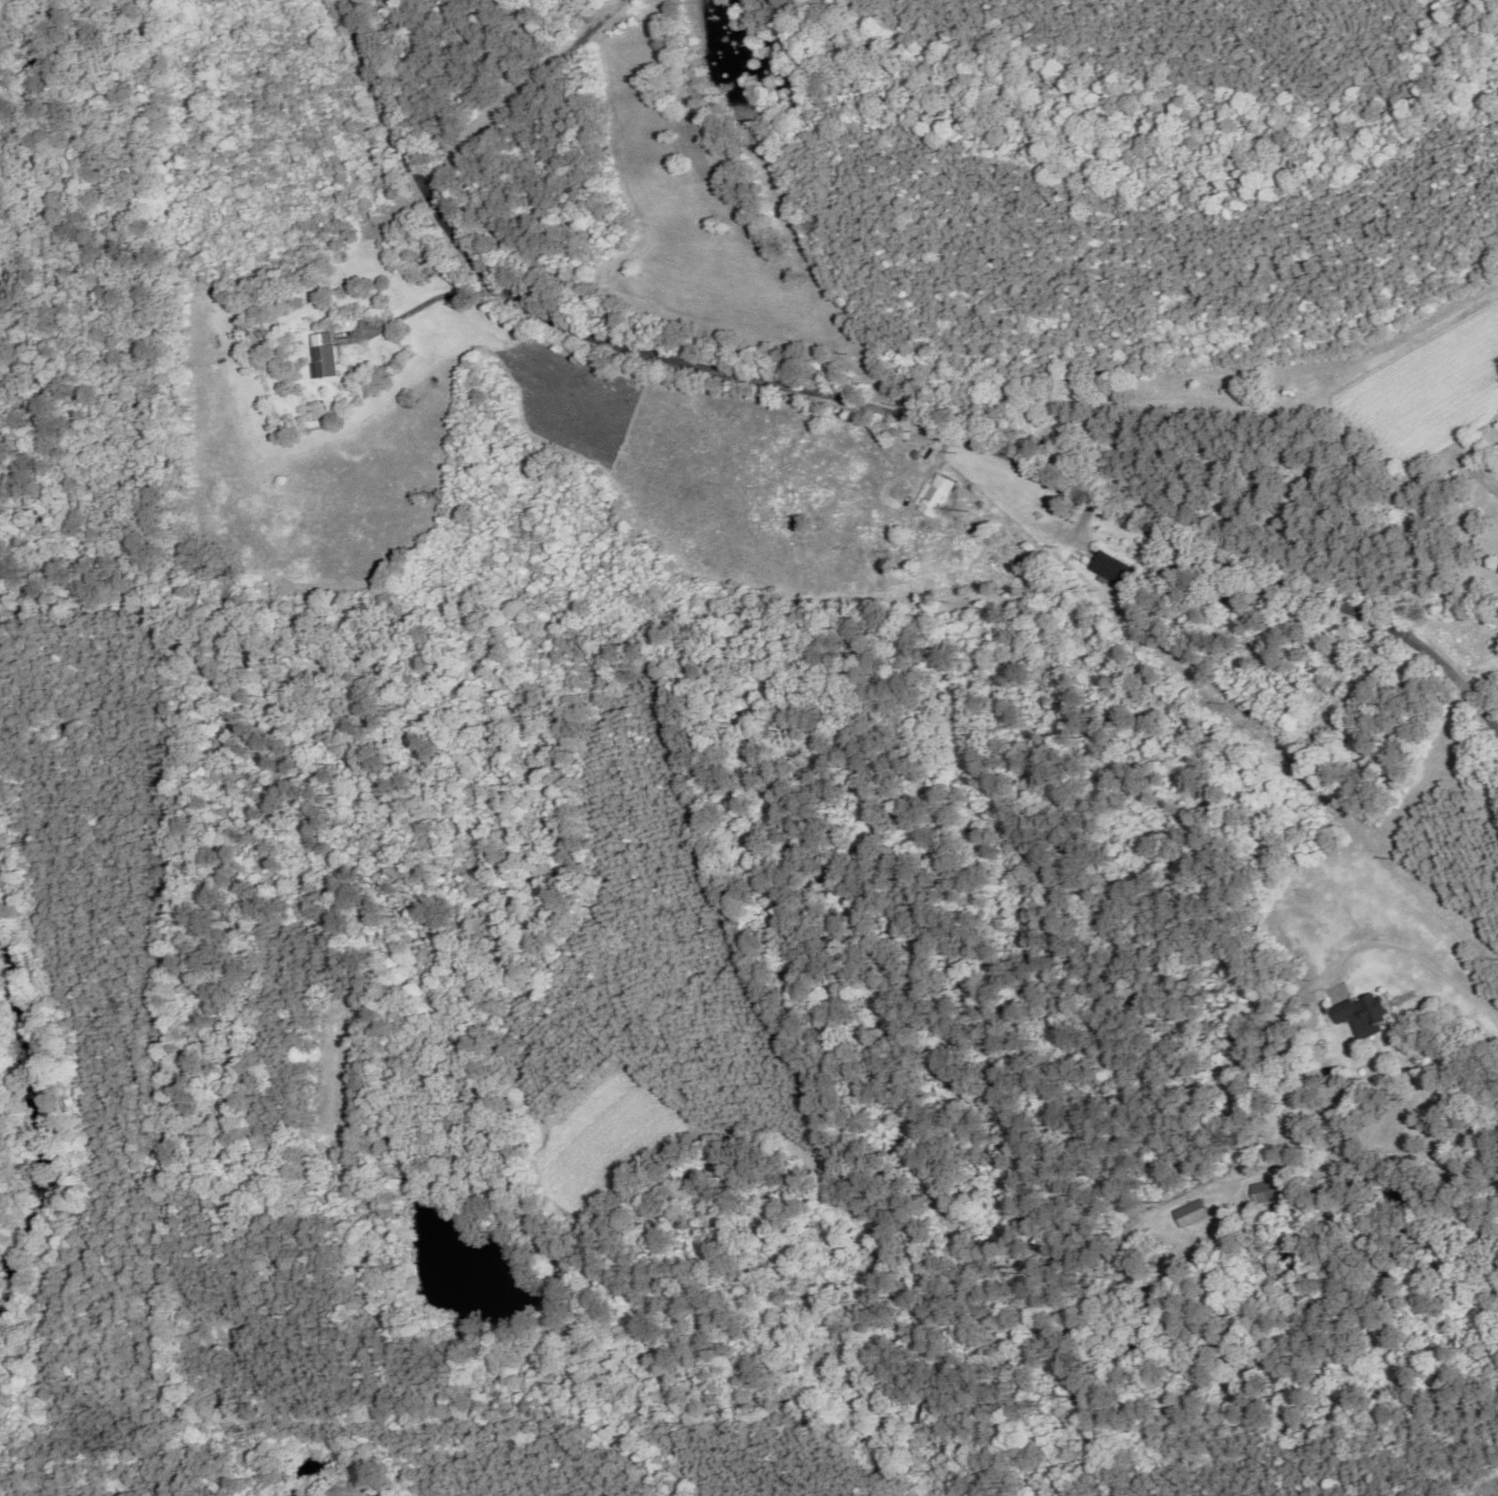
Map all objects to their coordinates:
building: (321, 357)
road: (873, 425)
building: (1108, 570)
road: (1410, 954)
building: (1264, 1194)

